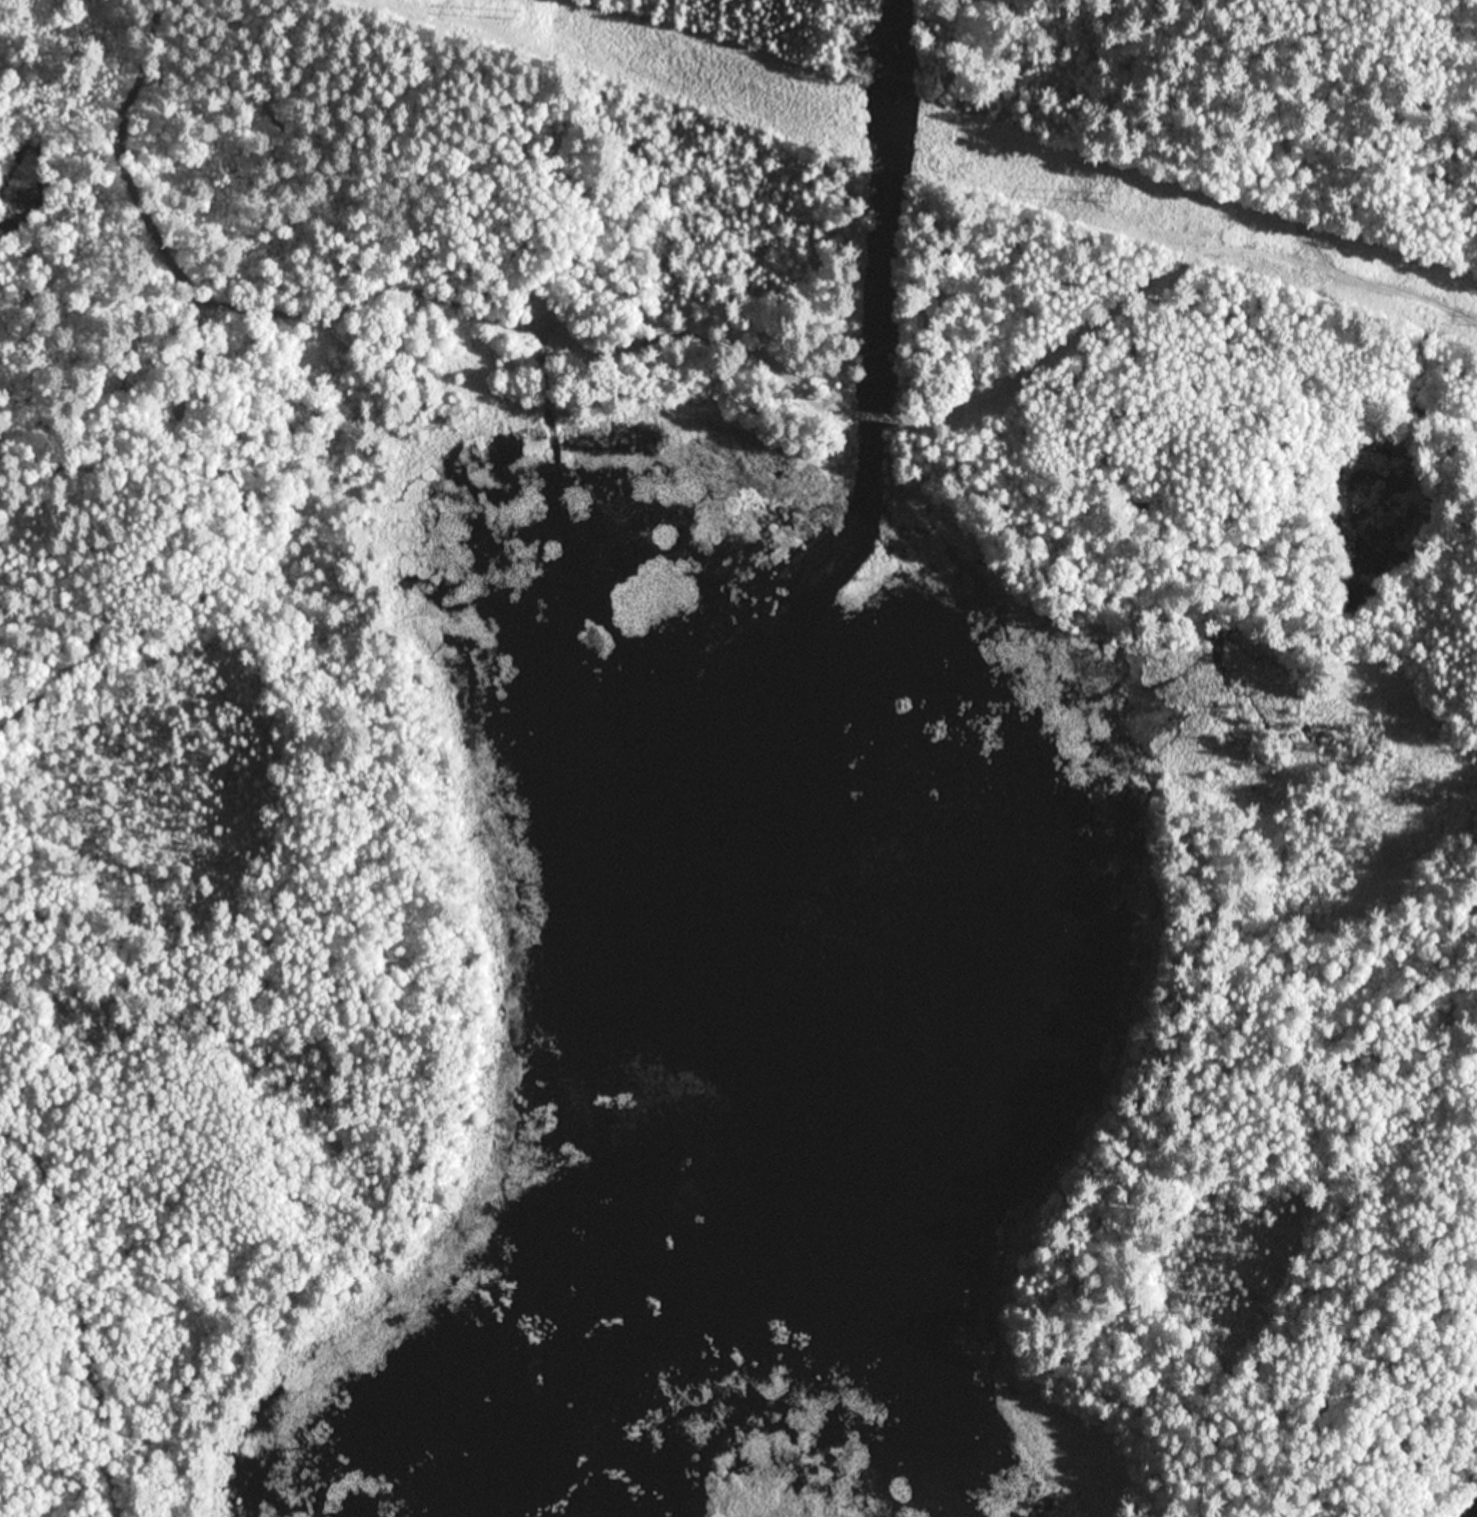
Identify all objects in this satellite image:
road: (186, 259)
road: (153, 513)
road: (67, 1320)

